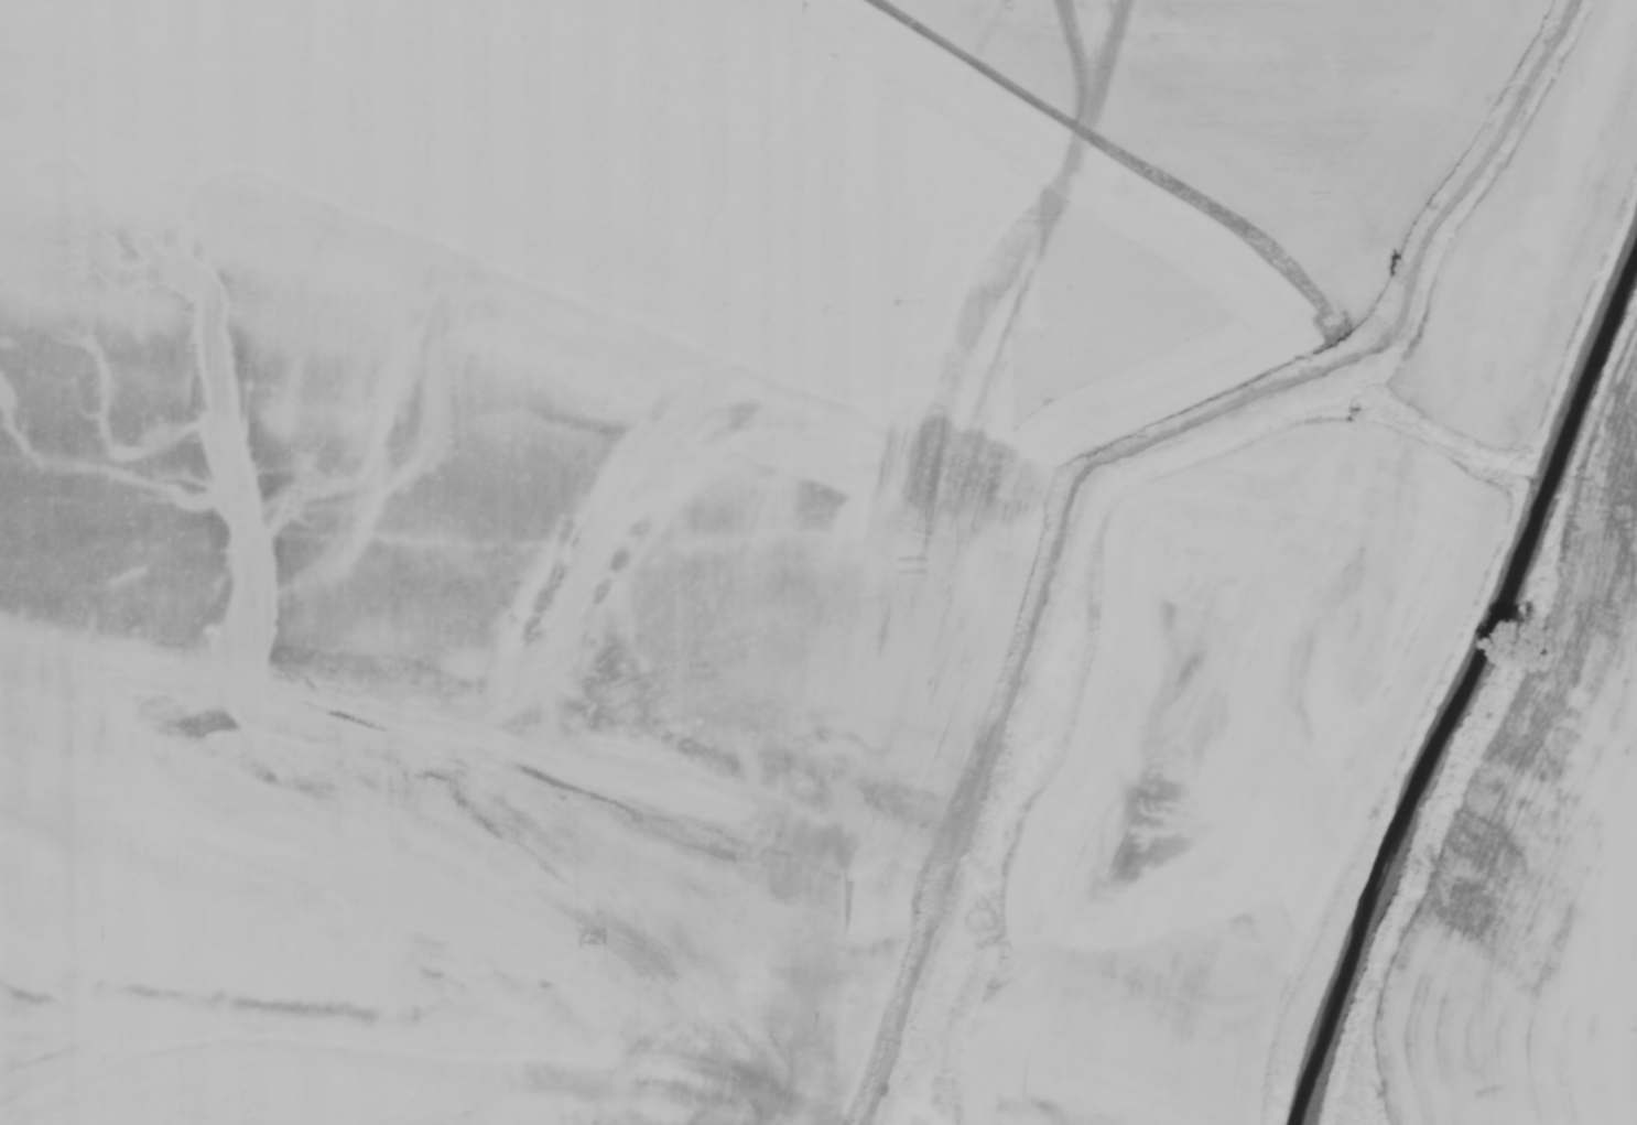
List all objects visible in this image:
river: (1459, 669)

